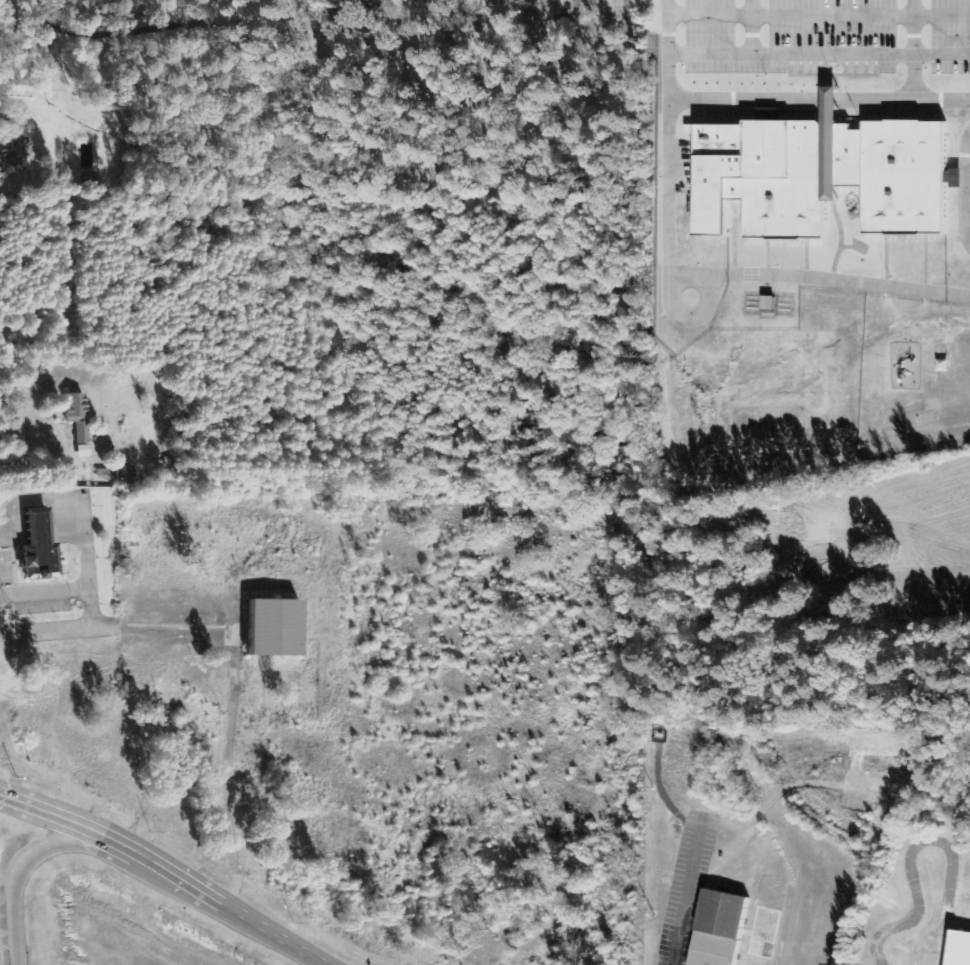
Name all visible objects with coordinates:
road: (816, 15)
road: (749, 26)
road: (911, 26)
road: (146, 34)
parking lot: (824, 35)
road: (816, 52)
road: (911, 75)
road: (816, 98)
road: (663, 167)
building: (819, 172)
road: (832, 279)
road: (955, 292)
building: (79, 420)
road: (81, 522)
building: (48, 546)
road: (44, 593)
building: (278, 628)
road: (57, 630)
road: (20, 865)
road: (168, 866)
building: (743, 934)
building: (963, 949)

